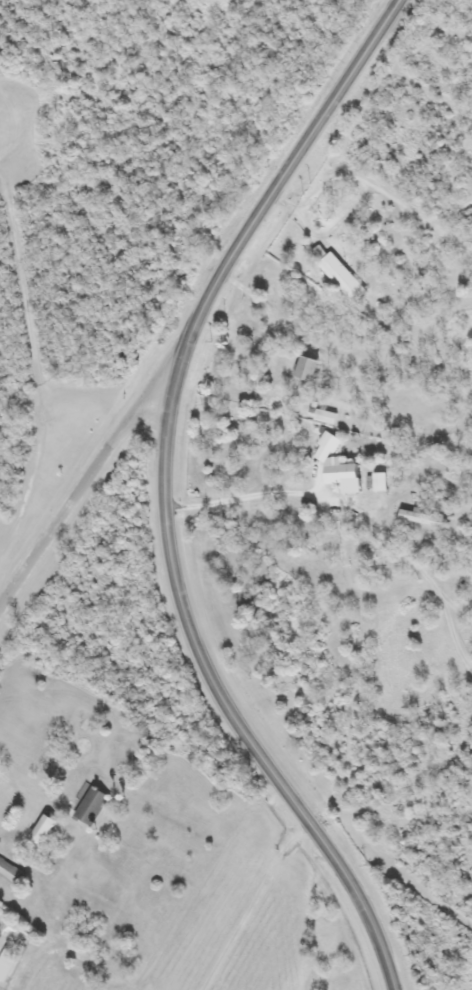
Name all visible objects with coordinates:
park: (214, 58)
road: (372, 180)
road: (451, 209)
building: (339, 279)
building: (304, 369)
building: (333, 462)
road: (88, 473)
road: (160, 495)
building: (88, 804)
building: (41, 830)
building: (8, 872)
road: (253, 904)
building: (6, 963)

